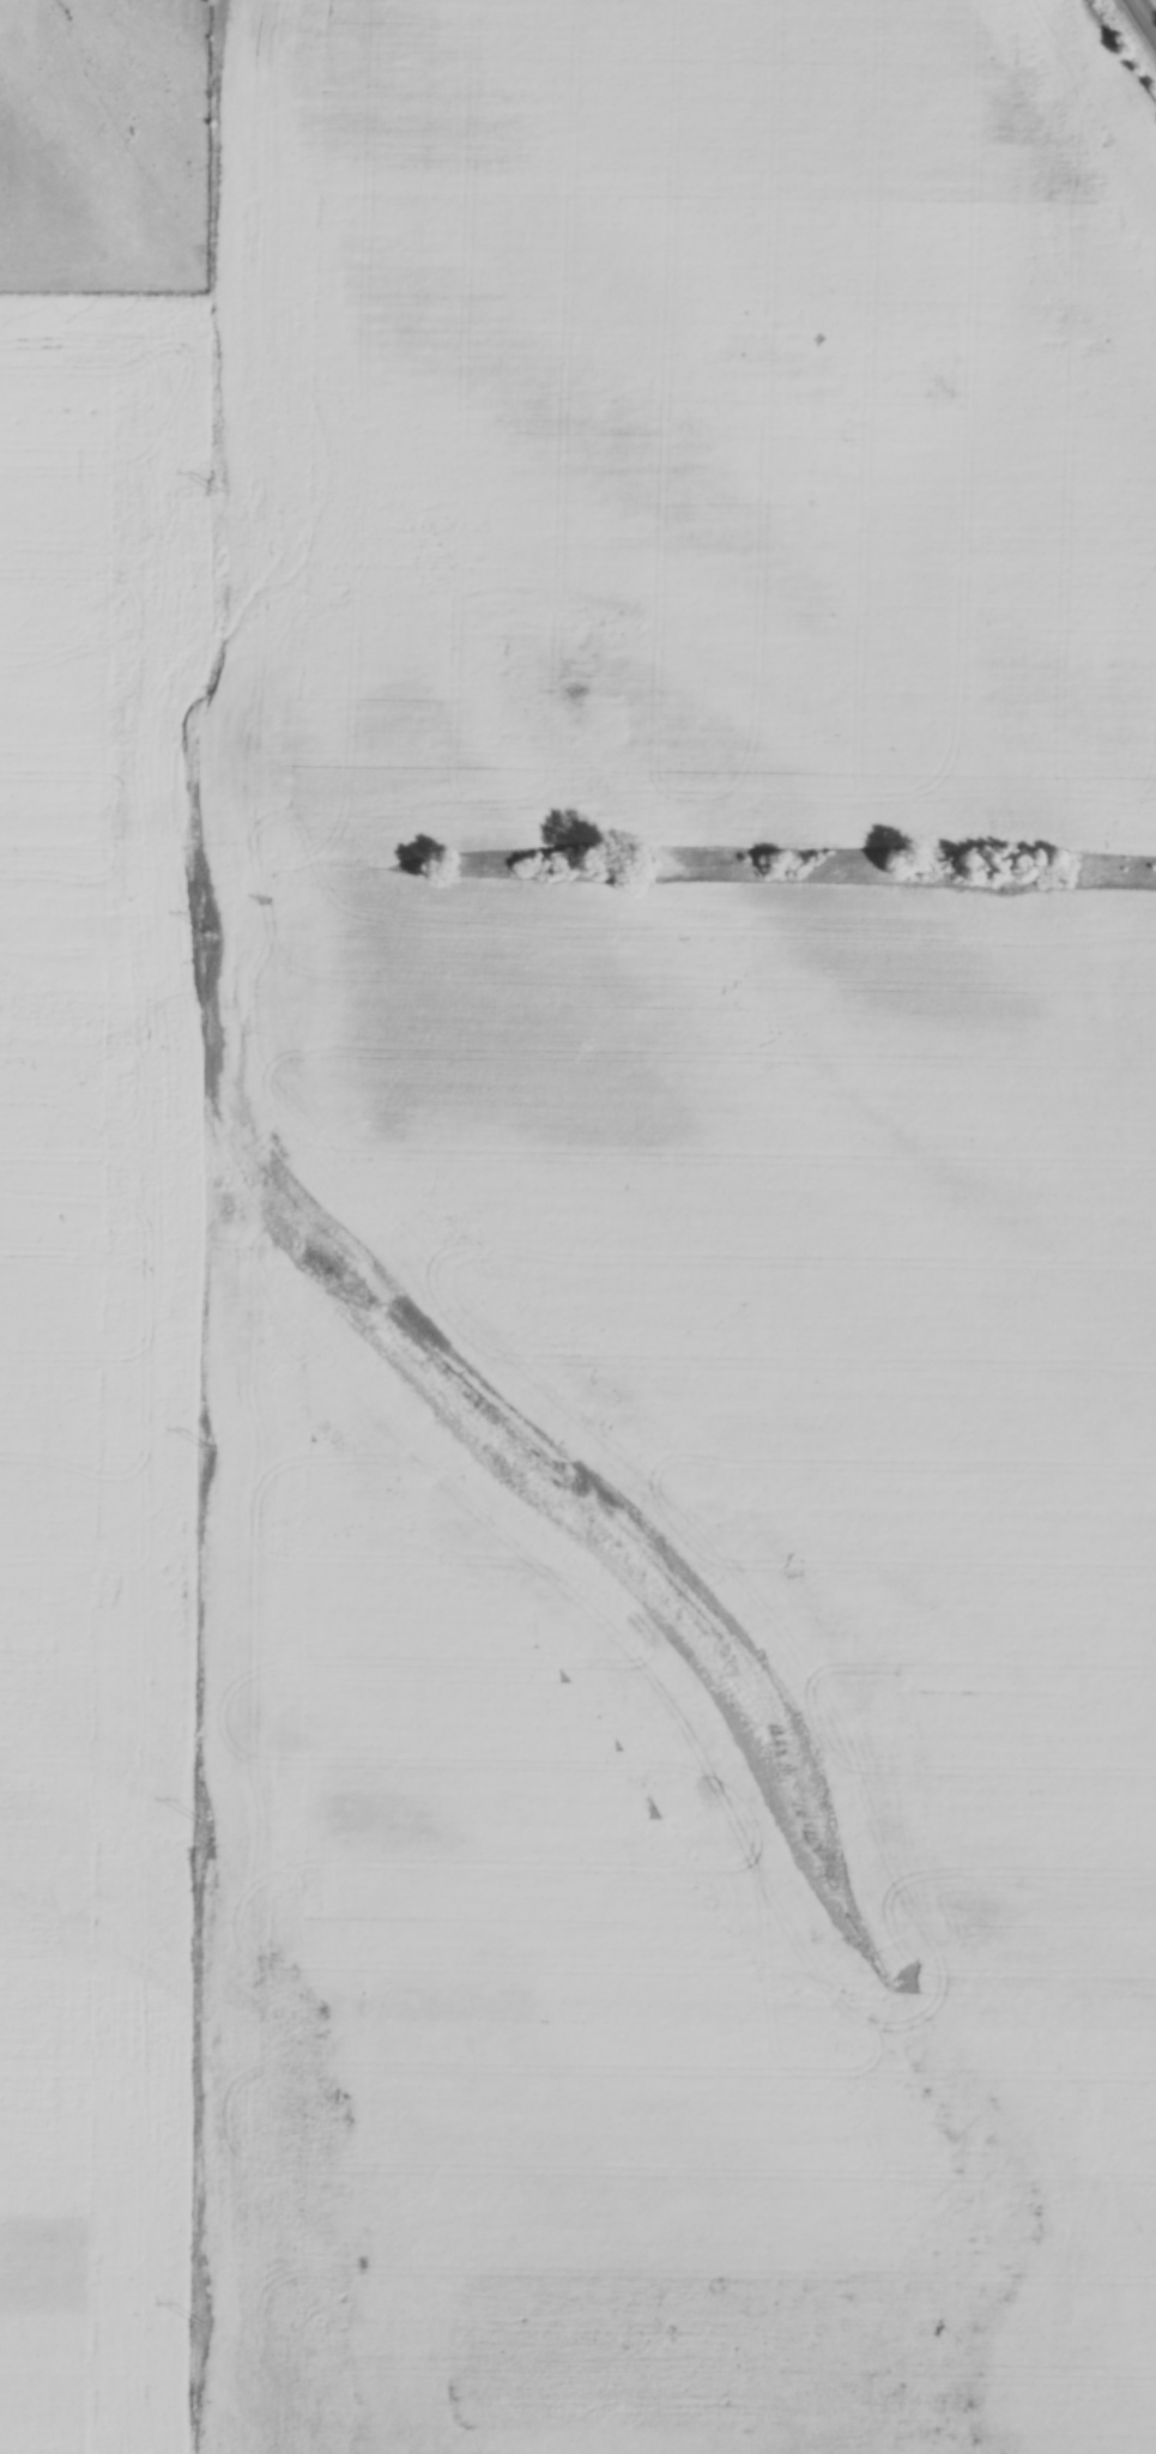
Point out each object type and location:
road: (1145, 16)
power tower: (217, 494)
power tower: (212, 935)
power tower: (206, 1449)
power tower: (204, 1825)
power tower: (198, 2325)

